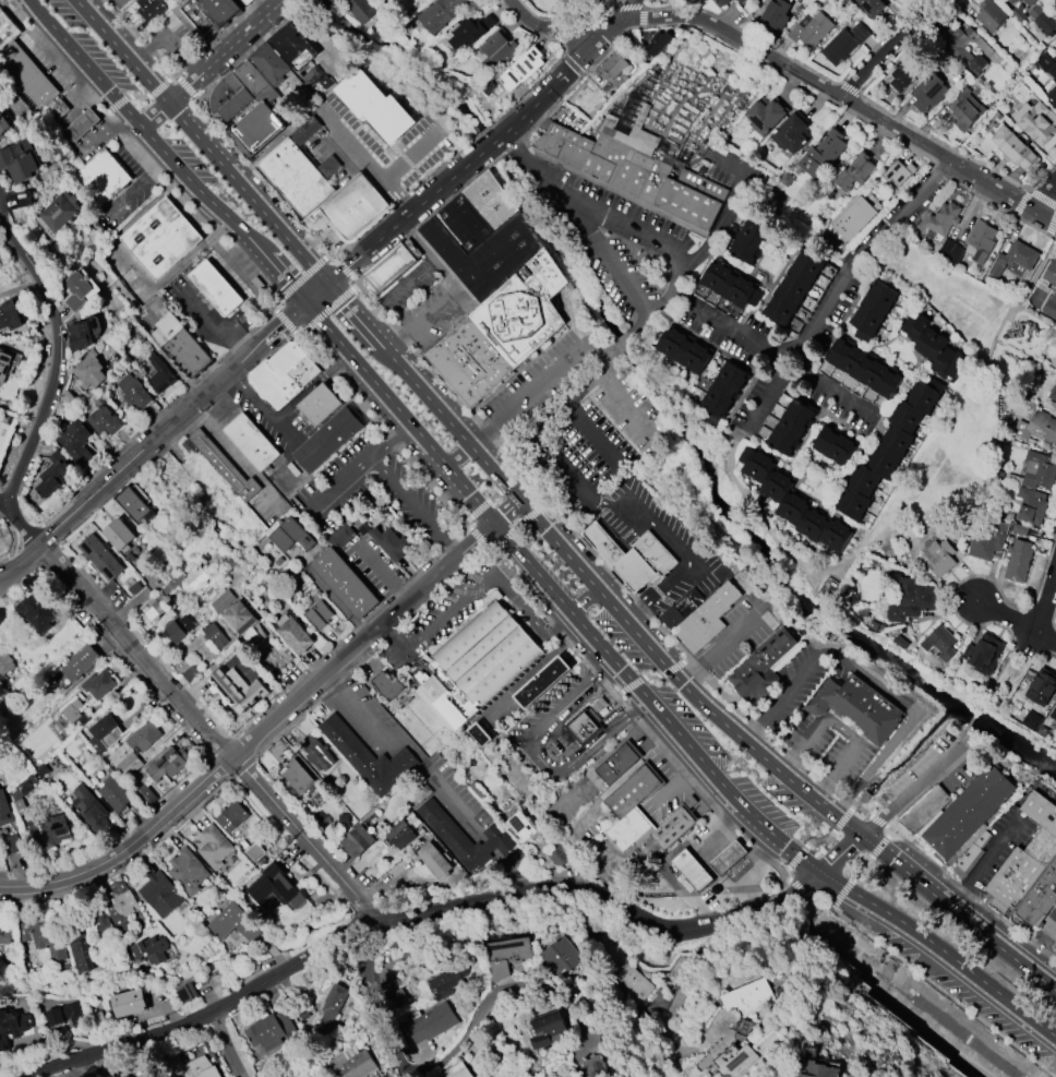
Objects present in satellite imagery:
building: (668, 0)
building: (741, 0)
building: (891, 0)
building: (893, 0)
building: (1020, 0)
building: (245, 1)
building: (1012, 1)
building: (722, 2)
building: (1029, 2)
building: (872, 7)
building: (151, 9)
building: (360, 10)
road: (37, 12)
building: (440, 13)
building: (776, 13)
building: (991, 15)
building: (195, 20)
building: (1043, 20)
building: (7, 28)
building: (470, 29)
building: (811, 29)
building: (288, 41)
building: (659, 41)
building: (843, 43)
building: (964, 49)
building: (497, 50)
road: (123, 51)
road: (901, 51)
road: (211, 63)
building: (271, 63)
building: (1046, 64)
building: (612, 65)
road: (791, 68)
building: (523, 69)
road: (566, 70)
building: (23, 74)
building: (902, 74)
building: (232, 82)
building: (929, 92)
building: (219, 95)
building: (1053, 95)
building: (235, 104)
building: (375, 106)
building: (56, 107)
building: (965, 112)
building: (766, 115)
gas station: (76, 121)
building: (81, 122)
building: (3, 124)
building: (1037, 124)
building: (255, 129)
building: (792, 133)
road: (156, 142)
road: (491, 143)
building: (1015, 148)
building: (823, 153)
road: (410, 154)
road: (362, 158)
building: (19, 160)
building: (328, 166)
building: (853, 172)
building: (897, 173)
building: (296, 177)
building: (634, 177)
building: (98, 178)
road: (140, 189)
road: (245, 192)
road: (731, 201)
road: (1047, 203)
building: (349, 207)
building: (59, 211)
road: (585, 215)
road: (405, 217)
building: (850, 218)
building: (944, 218)
road: (634, 232)
building: (164, 238)
building: (748, 241)
building: (980, 241)
building: (1016, 258)
building: (392, 262)
road: (344, 267)
building: (1051, 273)
road: (287, 276)
road: (299, 280)
building: (731, 285)
building: (216, 287)
building: (794, 287)
road: (838, 287)
road: (669, 288)
building: (76, 290)
road: (315, 290)
road: (388, 291)
road: (455, 291)
road: (339, 300)
building: (523, 307)
building: (1051, 307)
road: (326, 310)
building: (873, 311)
building: (10, 316)
road: (286, 319)
road: (323, 322)
road: (639, 325)
road: (214, 326)
building: (81, 335)
road: (622, 340)
building: (182, 345)
building: (934, 346)
building: (685, 349)
building: (285, 356)
road: (775, 357)
building: (469, 358)
building: (4, 364)
building: (866, 368)
building: (303, 369)
building: (89, 370)
building: (159, 374)
road: (548, 374)
building: (273, 383)
building: (133, 392)
building: (723, 392)
building: (1053, 393)
park: (968, 394)
park: (968, 394)
road: (571, 397)
building: (320, 402)
road: (257, 407)
building: (1055, 408)
building: (104, 420)
building: (791, 428)
road: (384, 429)
building: (1039, 429)
road: (595, 432)
road: (420, 433)
road: (154, 436)
building: (327, 438)
road: (389, 440)
building: (75, 441)
building: (251, 442)
building: (836, 445)
building: (888, 451)
road: (458, 455)
road: (236, 458)
building: (224, 466)
building: (1037, 470)
building: (53, 475)
road: (337, 483)
road: (892, 491)
road: (492, 495)
road: (3, 498)
building: (793, 502)
building: (1031, 504)
building: (135, 505)
road: (413, 506)
parking lot: (407, 510)
road: (506, 513)
road: (518, 525)
building: (119, 535)
building: (341, 535)
building: (291, 536)
road: (478, 536)
building: (603, 541)
building: (389, 542)
building: (987, 543)
road: (674, 547)
road: (590, 550)
building: (652, 550)
building: (938, 557)
building: (100, 558)
building: (1018, 561)
building: (633, 567)
road: (383, 570)
building: (187, 579)
building: (344, 583)
road: (84, 593)
building: (909, 597)
building: (223, 601)
road: (584, 601)
road: (1047, 605)
building: (153, 609)
building: (36, 611)
building: (319, 614)
parking lot: (436, 614)
building: (707, 617)
building: (772, 618)
road: (1007, 618)
road: (531, 620)
building: (243, 623)
road: (435, 623)
building: (177, 630)
building: (215, 635)
building: (296, 635)
road: (1047, 641)
road: (721, 643)
building: (939, 643)
road: (1045, 650)
building: (983, 654)
building: (79, 662)
building: (476, 665)
road: (1003, 666)
building: (763, 667)
road: (531, 668)
building: (4, 671)
building: (190, 673)
road: (1017, 675)
road: (650, 677)
road: (874, 678)
road: (679, 681)
building: (541, 682)
building: (388, 684)
building: (98, 685)
building: (1041, 686)
building: (232, 689)
building: (856, 706)
building: (75, 713)
building: (1053, 713)
road: (631, 715)
road: (970, 718)
building: (1031, 720)
road: (1019, 725)
building: (584, 727)
road: (840, 728)
road: (259, 731)
building: (104, 733)
building: (480, 734)
road: (959, 738)
road: (405, 742)
building: (135, 750)
building: (317, 753)
road: (600, 756)
building: (369, 757)
road: (537, 757)
building: (168, 764)
building: (616, 764)
building: (41, 768)
building: (298, 778)
road: (675, 779)
building: (23, 793)
building: (113, 794)
building: (145, 795)
building: (89, 807)
building: (924, 809)
building: (4, 810)
road: (886, 810)
road: (746, 811)
building: (968, 811)
building: (643, 816)
building: (231, 817)
building: (521, 824)
road: (837, 826)
road: (719, 827)
building: (48, 830)
building: (399, 833)
building: (464, 836)
building: (357, 840)
building: (11, 845)
building: (214, 847)
building: (253, 851)
building: (559, 854)
building: (728, 858)
road: (929, 859)
building: (434, 860)
road: (985, 863)
road: (861, 867)
road: (734, 869)
building: (692, 870)
building: (188, 871)
building: (275, 887)
road: (807, 889)
building: (160, 894)
building: (1041, 899)
road: (604, 900)
building: (120, 904)
building: (99, 920)
building: (232, 923)
building: (4, 933)
building: (45, 937)
road: (1037, 942)
building: (79, 947)
building: (511, 949)
building: (151, 950)
building: (560, 956)
building: (444, 982)
building: (633, 984)
road: (943, 991)
building: (185, 993)
building: (392, 995)
building: (749, 996)
building: (129, 1003)
road: (671, 1008)
building: (331, 1009)
road: (209, 1010)
road: (376, 1010)
building: (65, 1015)
building: (96, 1018)
building: (432, 1022)
building: (13, 1024)
building: (742, 1026)
road: (469, 1028)
building: (269, 1030)
building: (549, 1030)
road: (228, 1043)
building: (735, 1056)
building: (353, 1063)
building: (593, 1066)
building: (200, 1068)
building: (817, 1069)
building: (460, 1073)
building: (309, 1076)
building: (310, 1076)

